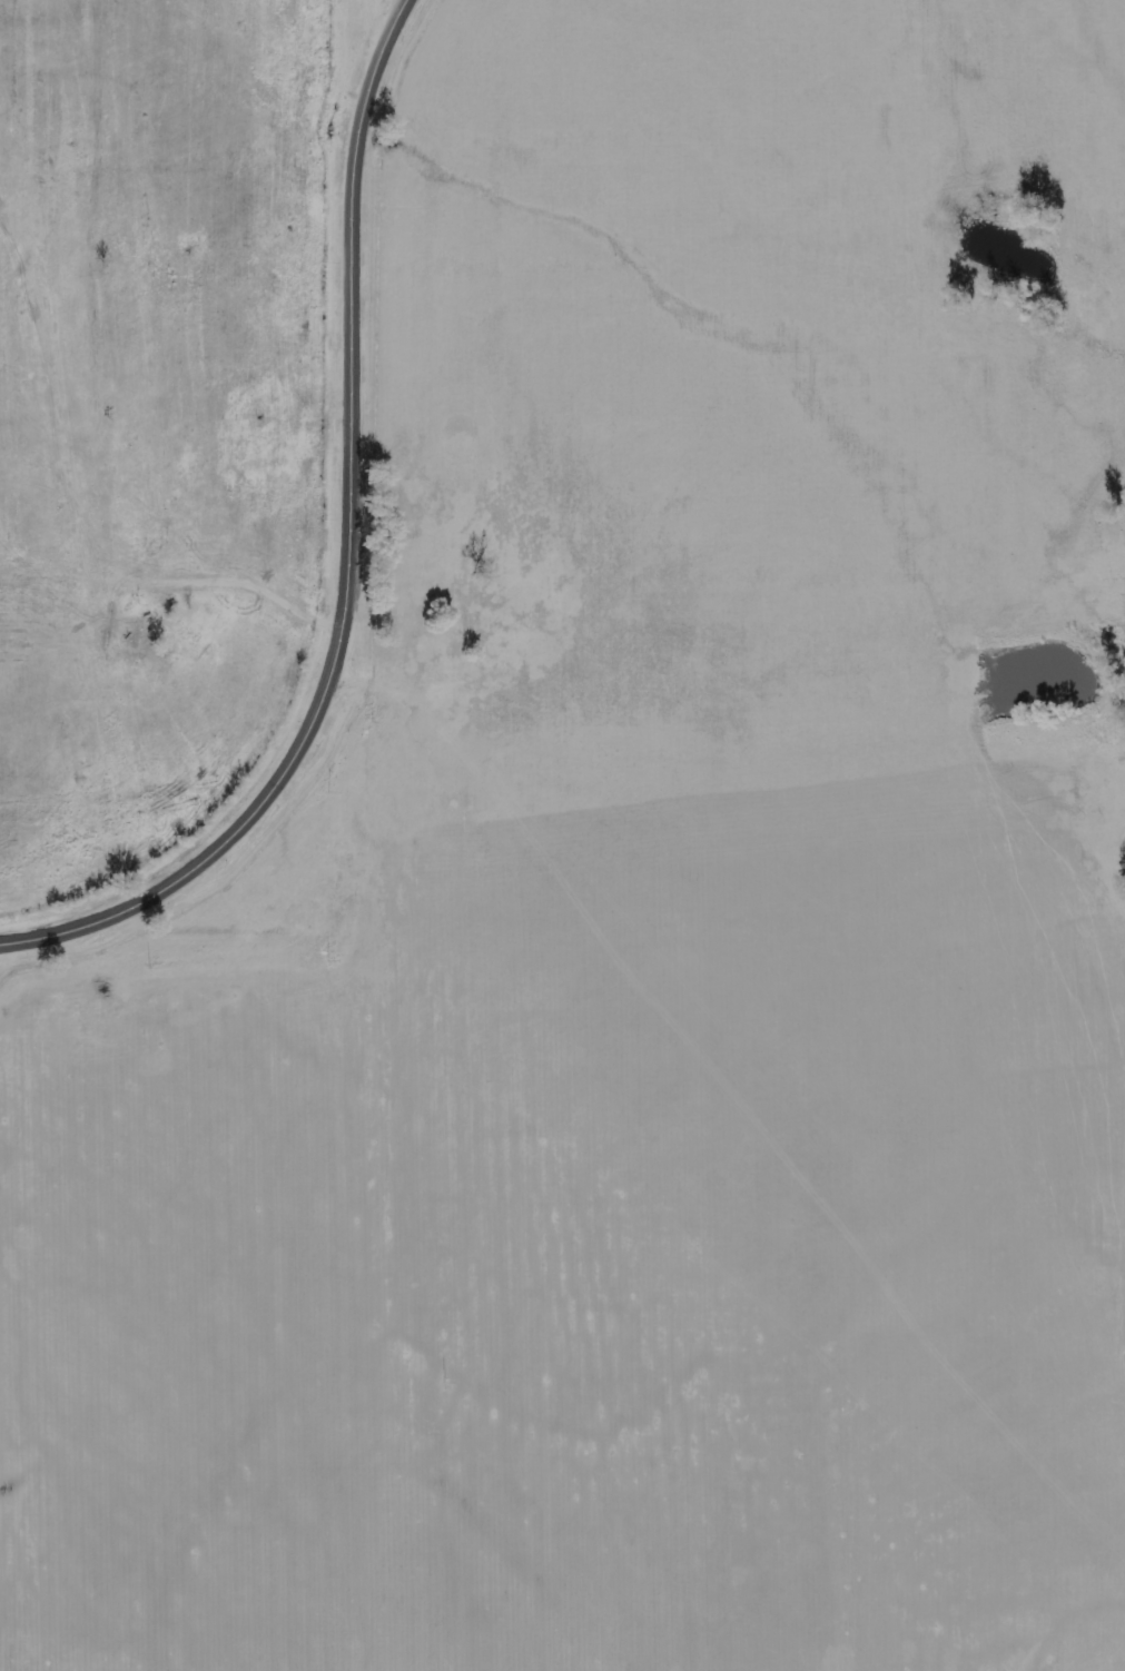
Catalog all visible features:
road: (348, 560)

